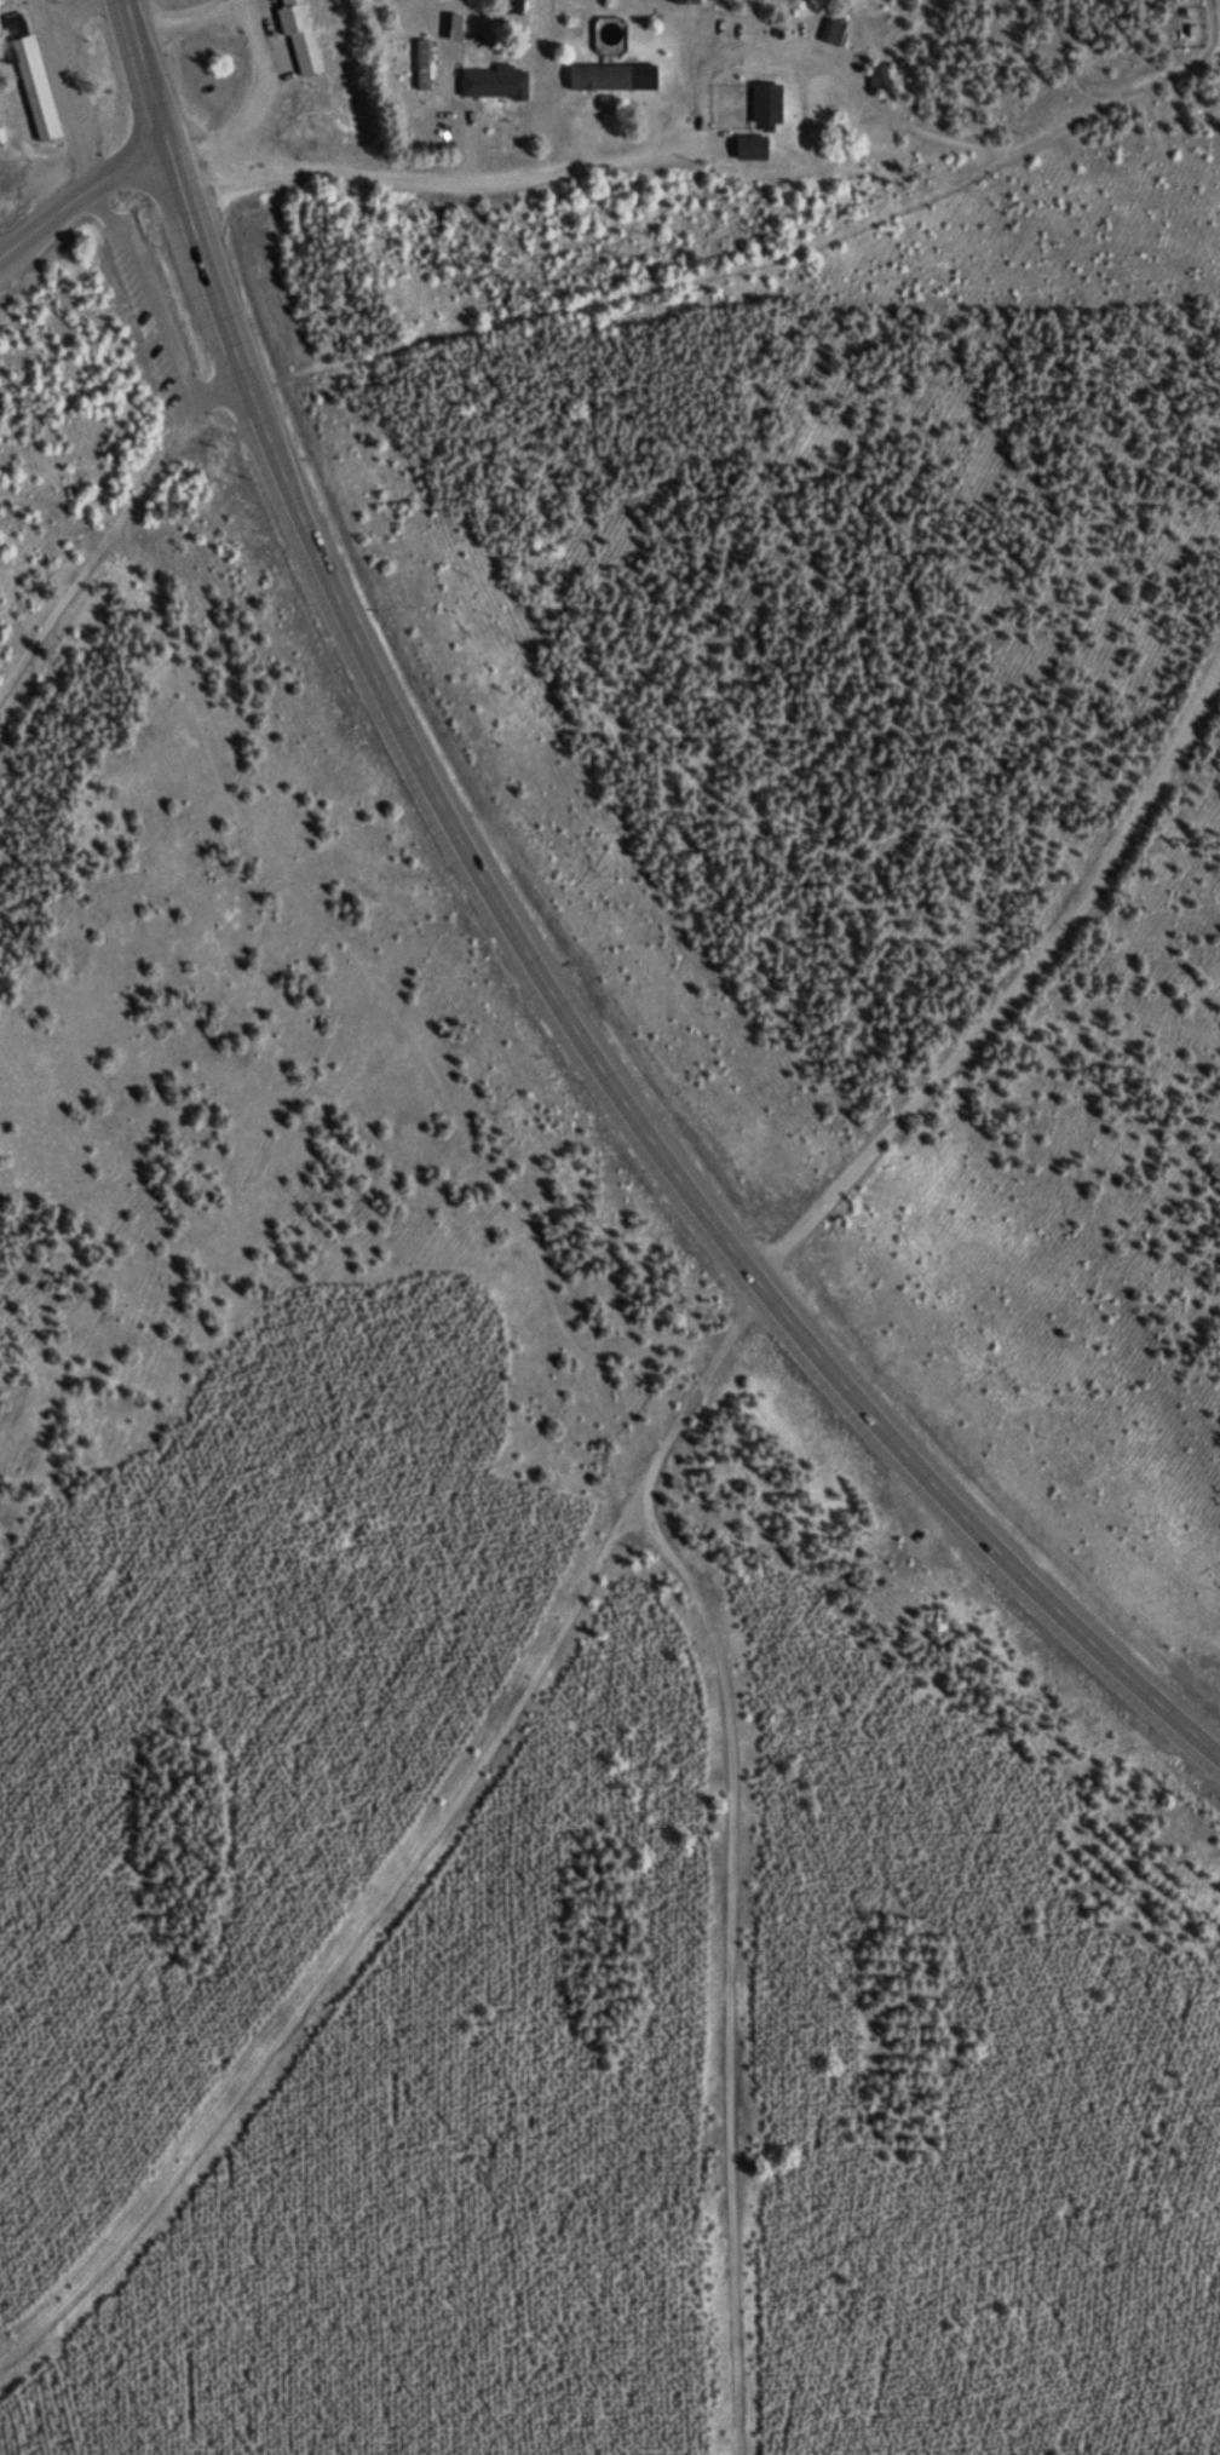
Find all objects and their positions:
building: (685, 2)
building: (16, 28)
building: (833, 34)
building: (299, 36)
building: (877, 79)
building: (612, 80)
building: (495, 86)
building: (36, 91)
building: (766, 107)
building: (750, 151)
road: (436, 182)
road: (80, 196)
road: (746, 264)
road: (149, 292)
road: (203, 401)
road: (91, 567)
road: (535, 962)
road: (1013, 989)
road: (419, 1852)
road: (732, 1967)

